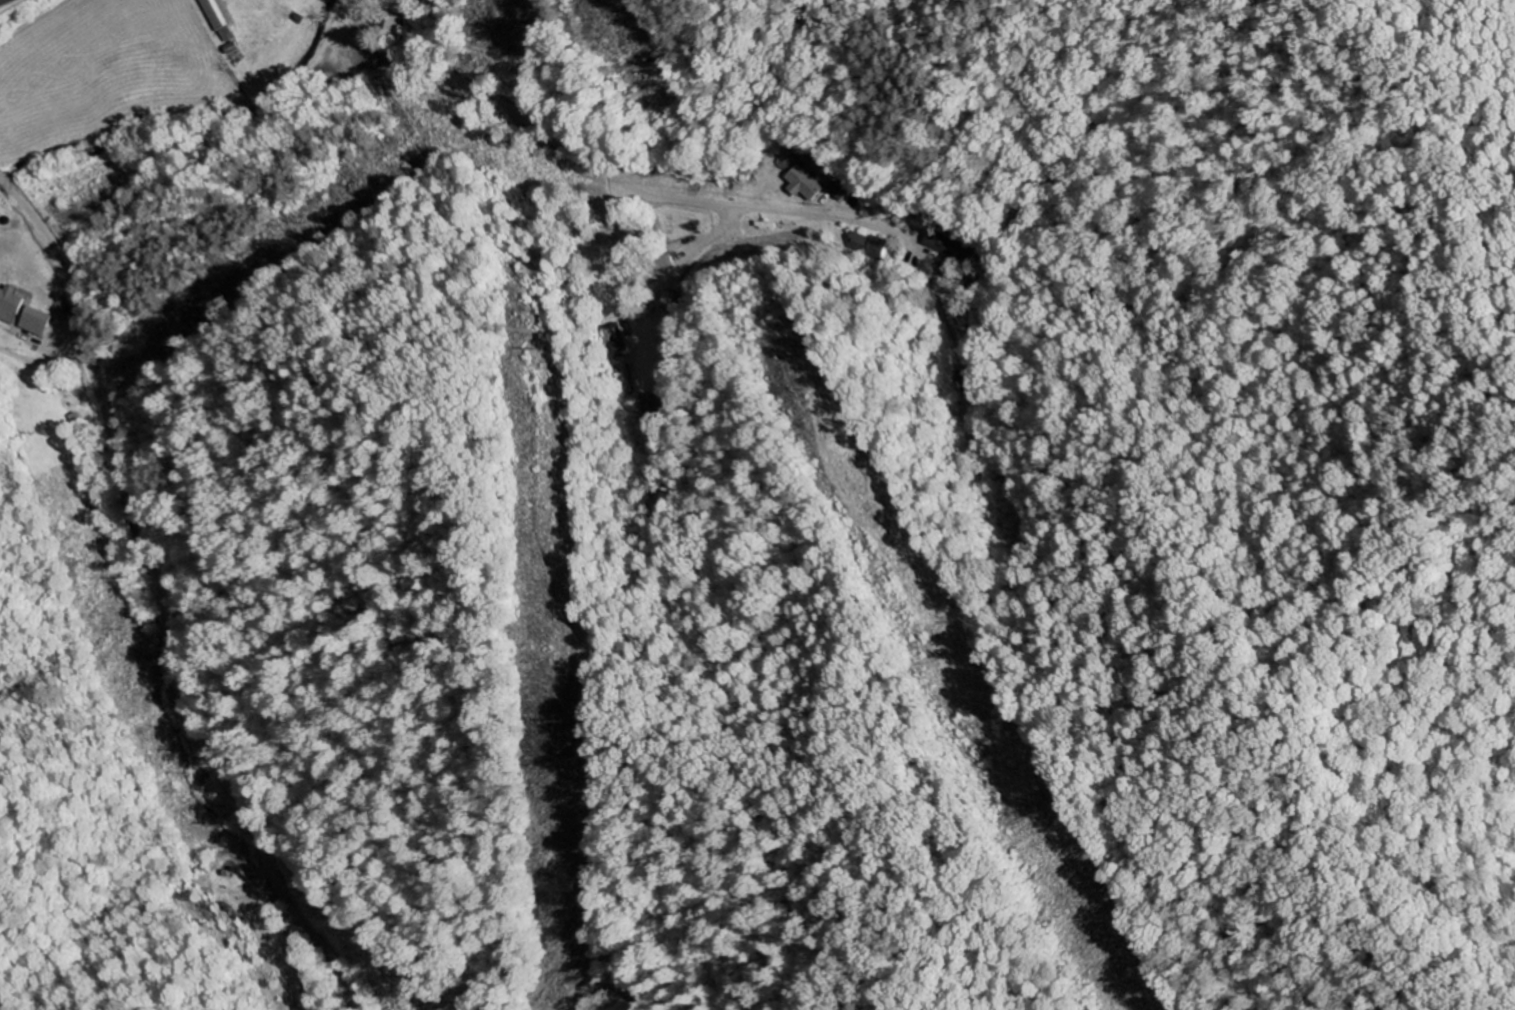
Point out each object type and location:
road: (579, 63)
road: (628, 180)
building: (805, 183)
building: (834, 187)
road: (43, 235)
building: (941, 243)
building: (867, 245)
building: (10, 303)
building: (36, 320)
power tower: (521, 349)
building: (965, 381)
power tower: (550, 719)
power tower: (1025, 815)

